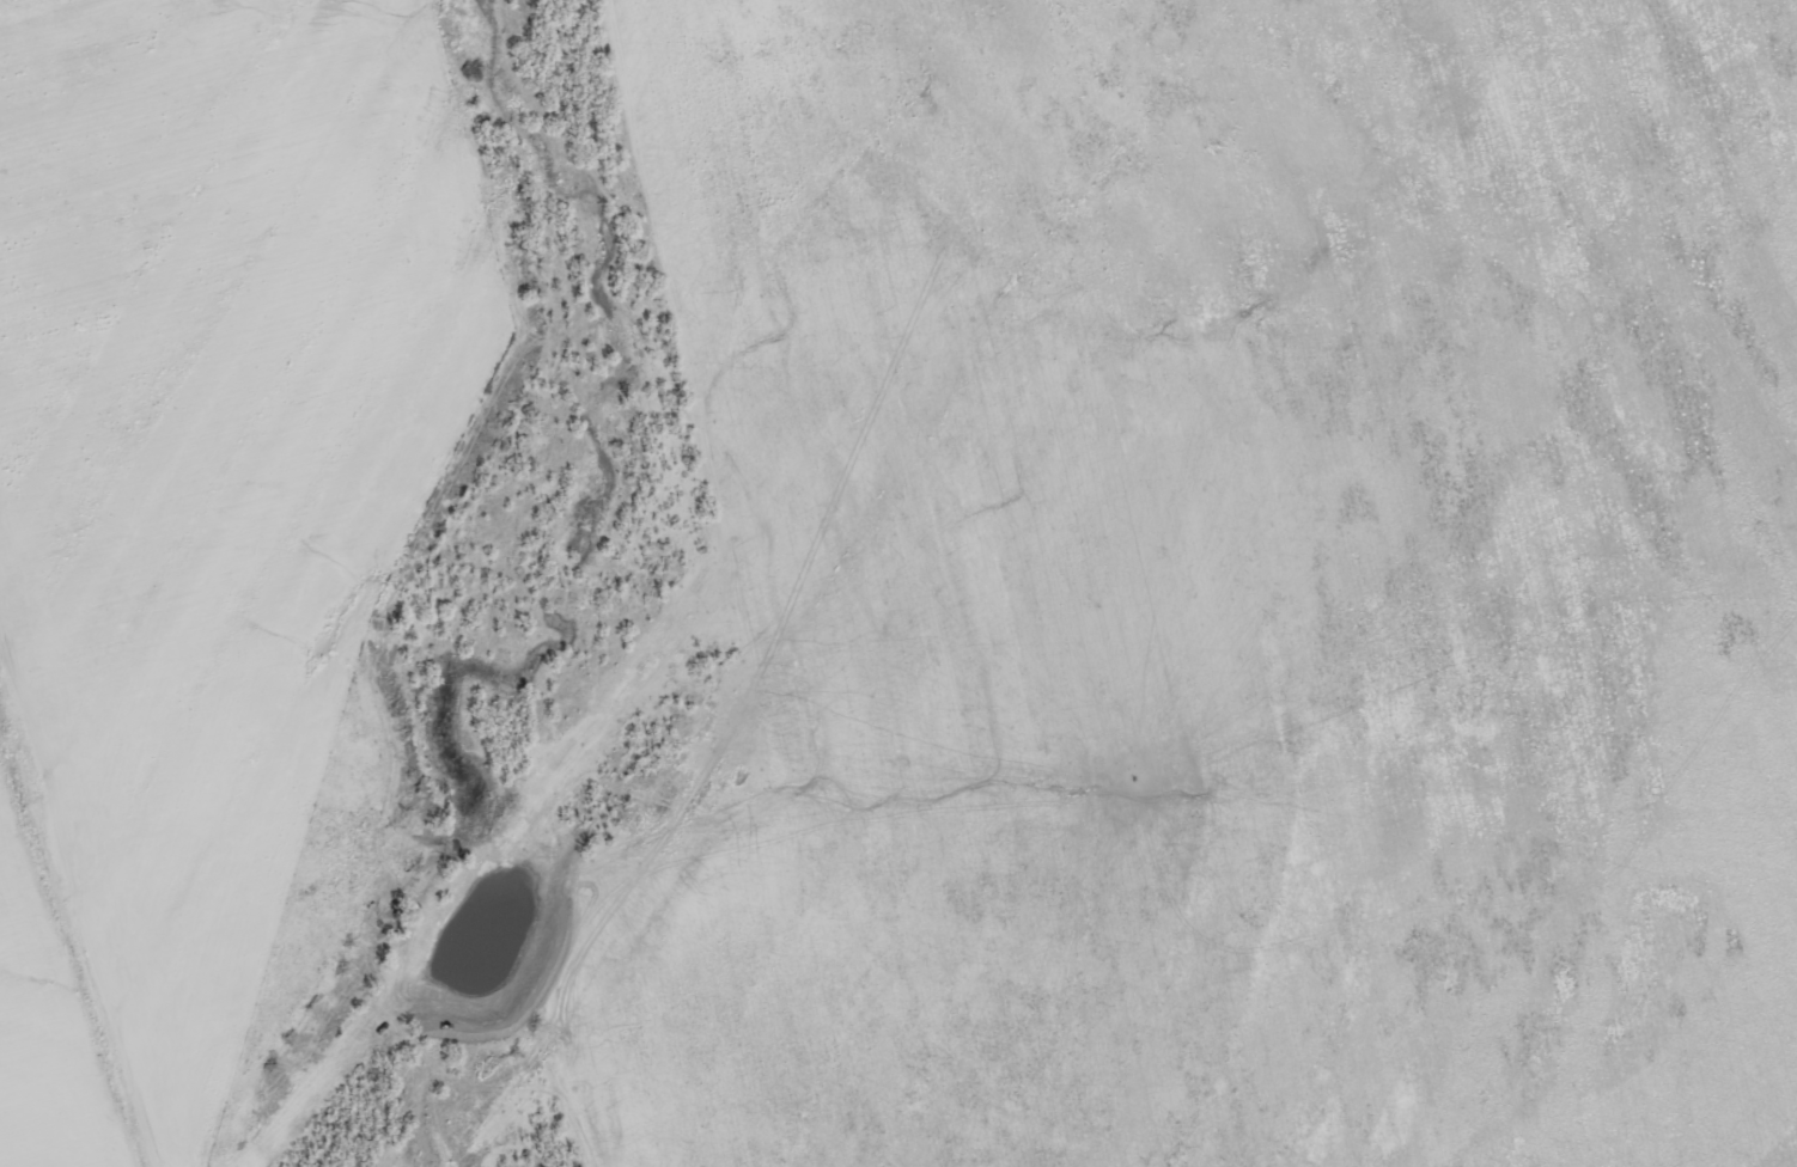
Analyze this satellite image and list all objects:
road: (57, 1009)

